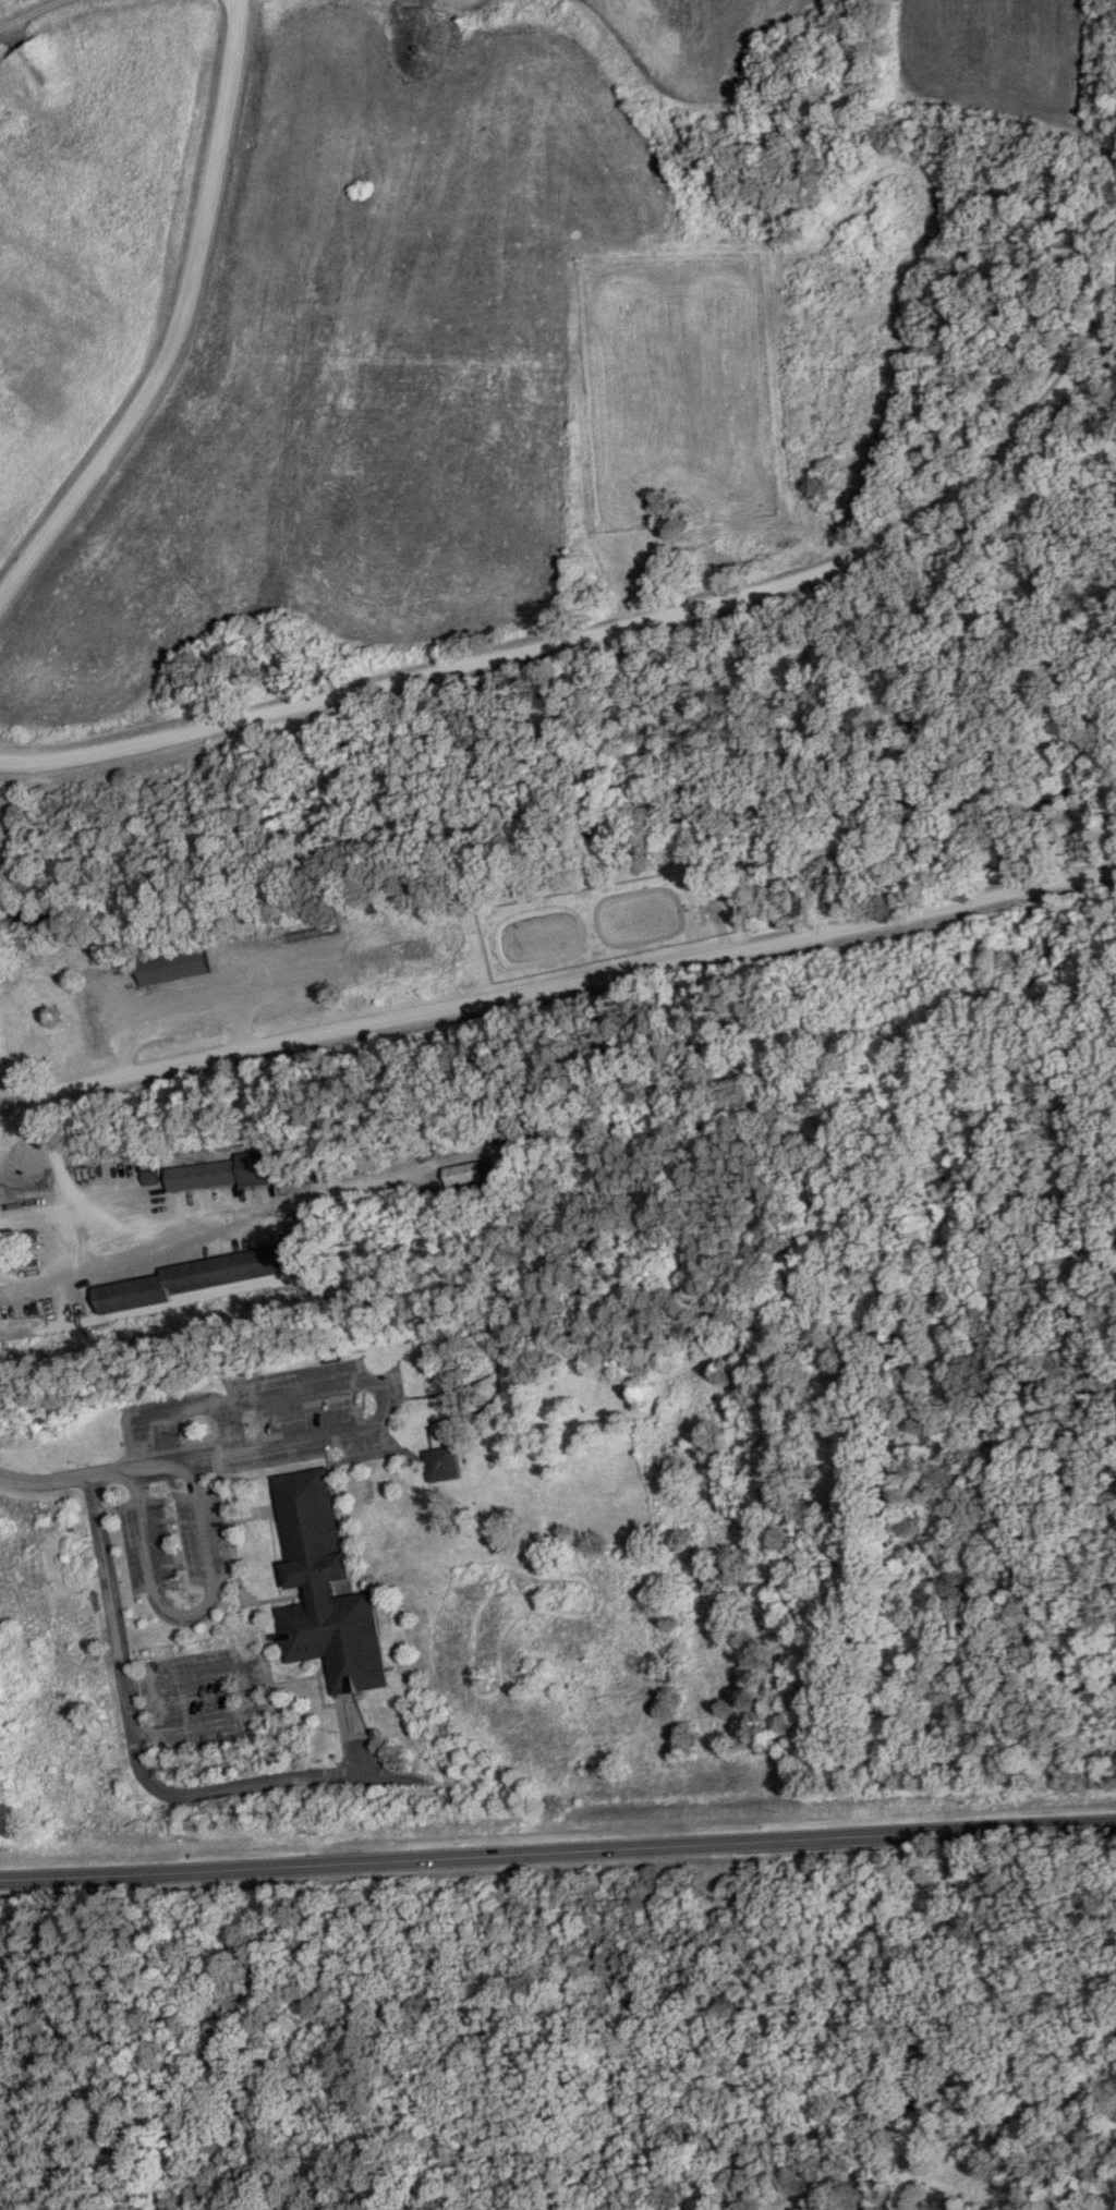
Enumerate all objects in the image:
road: (31, 10)
road: (181, 321)
road: (610, 626)
building: (173, 966)
road: (557, 983)
road: (707, 1139)
building: (218, 1171)
building: (464, 1171)
road: (105, 1224)
road: (1028, 1278)
road: (776, 1298)
road: (848, 1304)
road: (1052, 1345)
road: (381, 1398)
road: (159, 1407)
parking lot: (319, 1407)
road: (464, 1412)
parking lot: (150, 1424)
road: (229, 1426)
road: (182, 1447)
road: (427, 1453)
building: (440, 1462)
road: (327, 1464)
road: (116, 1469)
road: (220, 1484)
road: (324, 1504)
road: (253, 1517)
parking lot: (174, 1539)
building: (323, 1586)
road: (281, 1596)
road: (186, 1616)
road: (301, 1677)
road: (251, 1687)
parking lot: (203, 1695)
road: (319, 1695)
road: (354, 1744)
road: (143, 1768)
road: (557, 1850)
road: (929, 2140)
road: (948, 2182)

